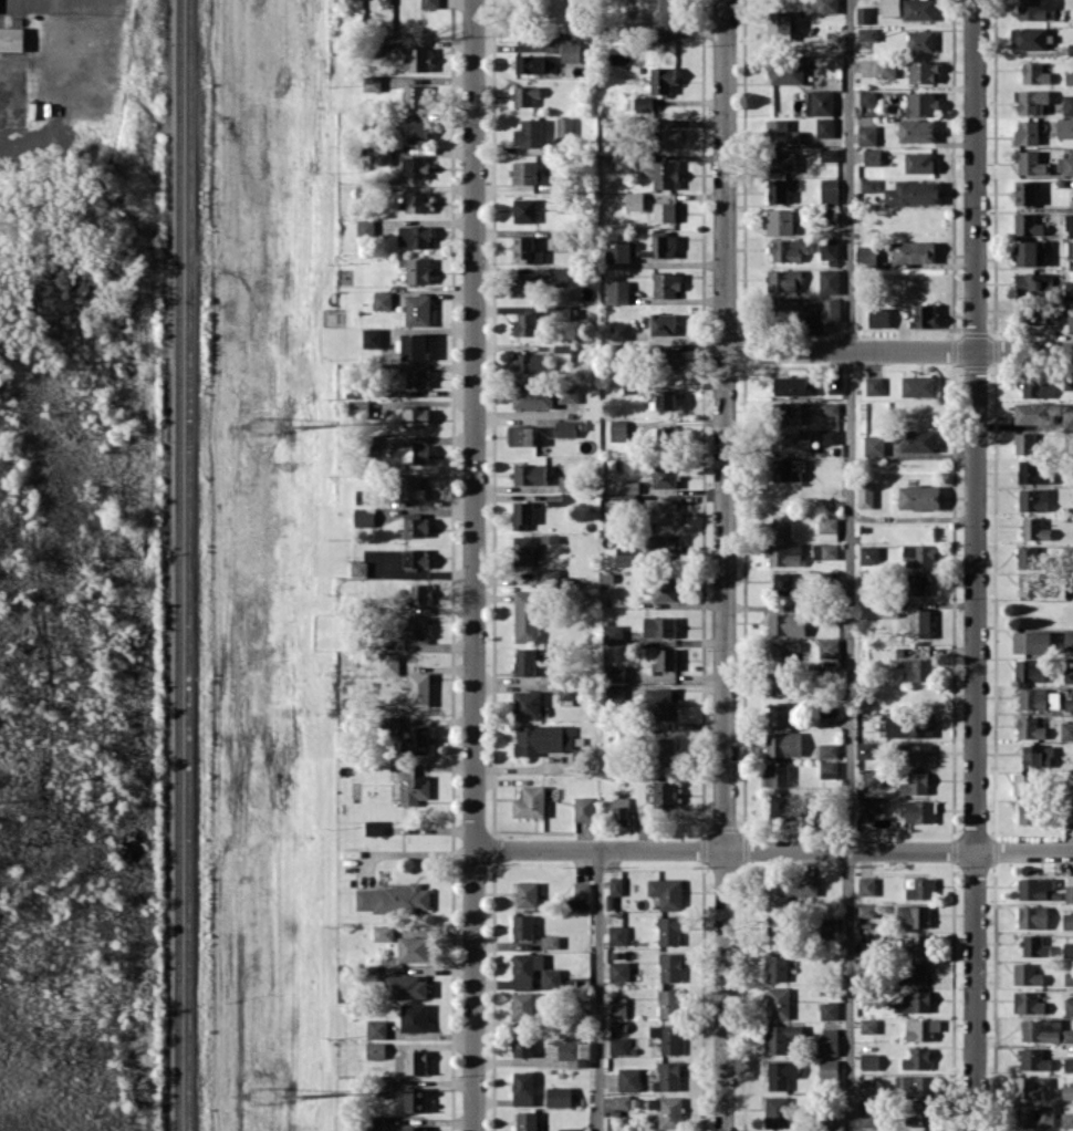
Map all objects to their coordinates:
building: (385, 1)
road: (74, 2)
building: (429, 3)
building: (826, 7)
building: (890, 7)
building: (918, 9)
building: (1035, 9)
building: (863, 14)
building: (669, 18)
building: (780, 25)
building: (867, 33)
building: (12, 38)
building: (1030, 38)
building: (919, 40)
building: (1070, 48)
building: (570, 52)
building: (417, 60)
building: (535, 64)
building: (885, 68)
building: (786, 70)
building: (923, 71)
building: (1034, 73)
building: (1069, 77)
building: (661, 79)
building: (371, 83)
building: (415, 95)
building: (523, 95)
building: (867, 97)
building: (1031, 100)
building: (820, 102)
building: (921, 103)
building: (1067, 104)
building: (564, 125)
building: (824, 126)
building: (414, 131)
building: (916, 131)
building: (781, 132)
building: (1027, 132)
building: (1065, 132)
building: (529, 133)
building: (866, 134)
building: (666, 137)
building: (829, 155)
building: (872, 156)
building: (782, 162)
building: (918, 162)
building: (621, 163)
building: (1031, 163)
building: (1064, 165)
building: (413, 166)
building: (523, 172)
building: (665, 174)
building: (868, 184)
building: (777, 190)
building: (829, 190)
building: (913, 193)
building: (1025, 193)
building: (634, 200)
building: (415, 201)
building: (523, 209)
building: (664, 211)
building: (830, 216)
building: (780, 220)
building: (1069, 221)
building: (1027, 225)
building: (364, 228)
building: (414, 236)
building: (660, 245)
building: (523, 248)
building: (789, 248)
building: (1070, 248)
building: (829, 249)
building: (619, 251)
building: (914, 251)
building: (1028, 252)
building: (866, 255)
building: (417, 270)
building: (558, 274)
building: (782, 280)
building: (829, 281)
building: (1033, 282)
building: (667, 284)
building: (523, 286)
building: (1069, 288)
building: (617, 291)
building: (382, 300)
building: (417, 310)
building: (830, 310)
building: (562, 312)
building: (792, 312)
building: (1027, 312)
building: (923, 315)
building: (878, 317)
building: (1071, 320)
building: (661, 323)
building: (524, 324)
building: (619, 331)
building: (371, 338)
building: (414, 346)
road: (897, 350)
building: (561, 352)
building: (528, 362)
building: (417, 377)
building: (1067, 383)
building: (835, 384)
building: (792, 385)
building: (873, 385)
building: (917, 385)
building: (1034, 387)
building: (542, 394)
building: (665, 400)
building: (357, 408)
building: (829, 408)
building: (792, 412)
building: (1031, 413)
building: (415, 416)
power tower: (300, 424)
power tower: (258, 426)
building: (564, 428)
building: (617, 429)
building: (521, 435)
building: (667, 435)
building: (829, 435)
building: (915, 439)
building: (791, 443)
building: (1027, 443)
building: (873, 445)
building: (415, 454)
building: (785, 469)
building: (1031, 473)
building: (530, 474)
building: (663, 476)
building: (565, 483)
building: (629, 486)
building: (409, 488)
building: (864, 495)
building: (363, 496)
building: (918, 497)
building: (553, 499)
building: (1032, 499)
building: (663, 512)
building: (522, 513)
building: (363, 517)
road: (910, 518)
building: (414, 525)
building: (781, 526)
building: (827, 528)
building: (1033, 529)
building: (666, 544)
building: (523, 549)
building: (829, 550)
building: (868, 553)
building: (625, 556)
building: (780, 556)
building: (917, 556)
building: (1030, 557)
building: (415, 558)
railway: (177, 564)
railway: (188, 564)
road: (472, 564)
road: (722, 564)
road: (973, 564)
road: (848, 565)
building: (357, 568)
building: (548, 577)
building: (782, 582)
building: (916, 583)
building: (1032, 584)
building: (659, 587)
building: (418, 593)
building: (525, 615)
building: (785, 623)
building: (919, 623)
building: (658, 625)
building: (416, 629)
building: (612, 633)
building: (1067, 639)
building: (1031, 642)
building: (829, 648)
building: (782, 652)
building: (664, 660)
building: (524, 661)
building: (388, 663)
building: (917, 668)
building: (1028, 670)
building: (615, 672)
building: (1069, 674)
building: (777, 684)
building: (417, 688)
building: (565, 691)
building: (1032, 698)
building: (1071, 699)
building: (525, 703)
building: (659, 703)
building: (1069, 706)
building: (826, 709)
building: (778, 714)
building: (908, 726)
building: (1029, 727)
building: (1066, 730)
building: (541, 738)
building: (416, 739)
building: (782, 744)
building: (827, 749)
building: (863, 749)
building: (664, 750)
building: (915, 754)
building: (1036, 755)
building: (825, 769)
building: (775, 774)
building: (872, 778)
building: (412, 780)
building: (914, 784)
building: (1025, 784)
building: (664, 793)
building: (529, 801)
building: (780, 805)
building: (868, 805)
building: (583, 808)
building: (619, 809)
building: (919, 811)
building: (1028, 811)
building: (1069, 817)
building: (374, 827)
road: (772, 849)
building: (615, 885)
building: (865, 885)
building: (919, 888)
building: (1033, 888)
building: (788, 890)
building: (666, 892)
building: (1067, 892)
building: (525, 894)
building: (580, 895)
building: (393, 899)
building: (866, 910)
building: (914, 915)
building: (1032, 916)
building: (1067, 920)
building: (522, 925)
building: (826, 926)
building: (668, 930)
building: (382, 932)
building: (616, 934)
building: (549, 942)
building: (918, 944)
building: (1033, 945)
building: (412, 948)
building: (1067, 948)
building: (669, 966)
building: (775, 966)
building: (525, 968)
building: (618, 971)
building: (911, 973)
building: (1025, 974)
building: (1067, 977)
building: (405, 986)
road: (596, 989)
building: (916, 1002)
building: (1027, 1002)
building: (668, 1003)
building: (777, 1003)
building: (522, 1005)
building: (1069, 1006)
building: (616, 1007)
building: (827, 1009)
building: (414, 1017)
building: (867, 1025)
building: (376, 1028)
building: (617, 1029)
building: (920, 1029)
building: (1040, 1029)
building: (1066, 1035)
building: (667, 1038)
building: (778, 1039)
building: (827, 1041)
building: (522, 1044)
building: (617, 1046)
building: (375, 1050)
building: (574, 1052)
building: (916, 1059)
building: (1033, 1059)
building: (410, 1061)
building: (869, 1061)
building: (1067, 1063)
building: (827, 1068)
building: (780, 1073)
building: (667, 1076)
building: (627, 1079)
building: (919, 1086)
building: (1030, 1086)
building: (867, 1087)
building: (383, 1088)
building: (522, 1088)
building: (1066, 1091)
power tower: (261, 1093)
power tower: (299, 1093)
building: (558, 1096)
building: (415, 1099)
building: (621, 1101)
building: (667, 1110)
building: (775, 1111)
building: (920, 1114)
building: (1034, 1116)
building: (868, 1117)
building: (1066, 1119)
building: (525, 1121)
building: (374, 1124)
building: (415, 1128)
building: (570, 1129)

